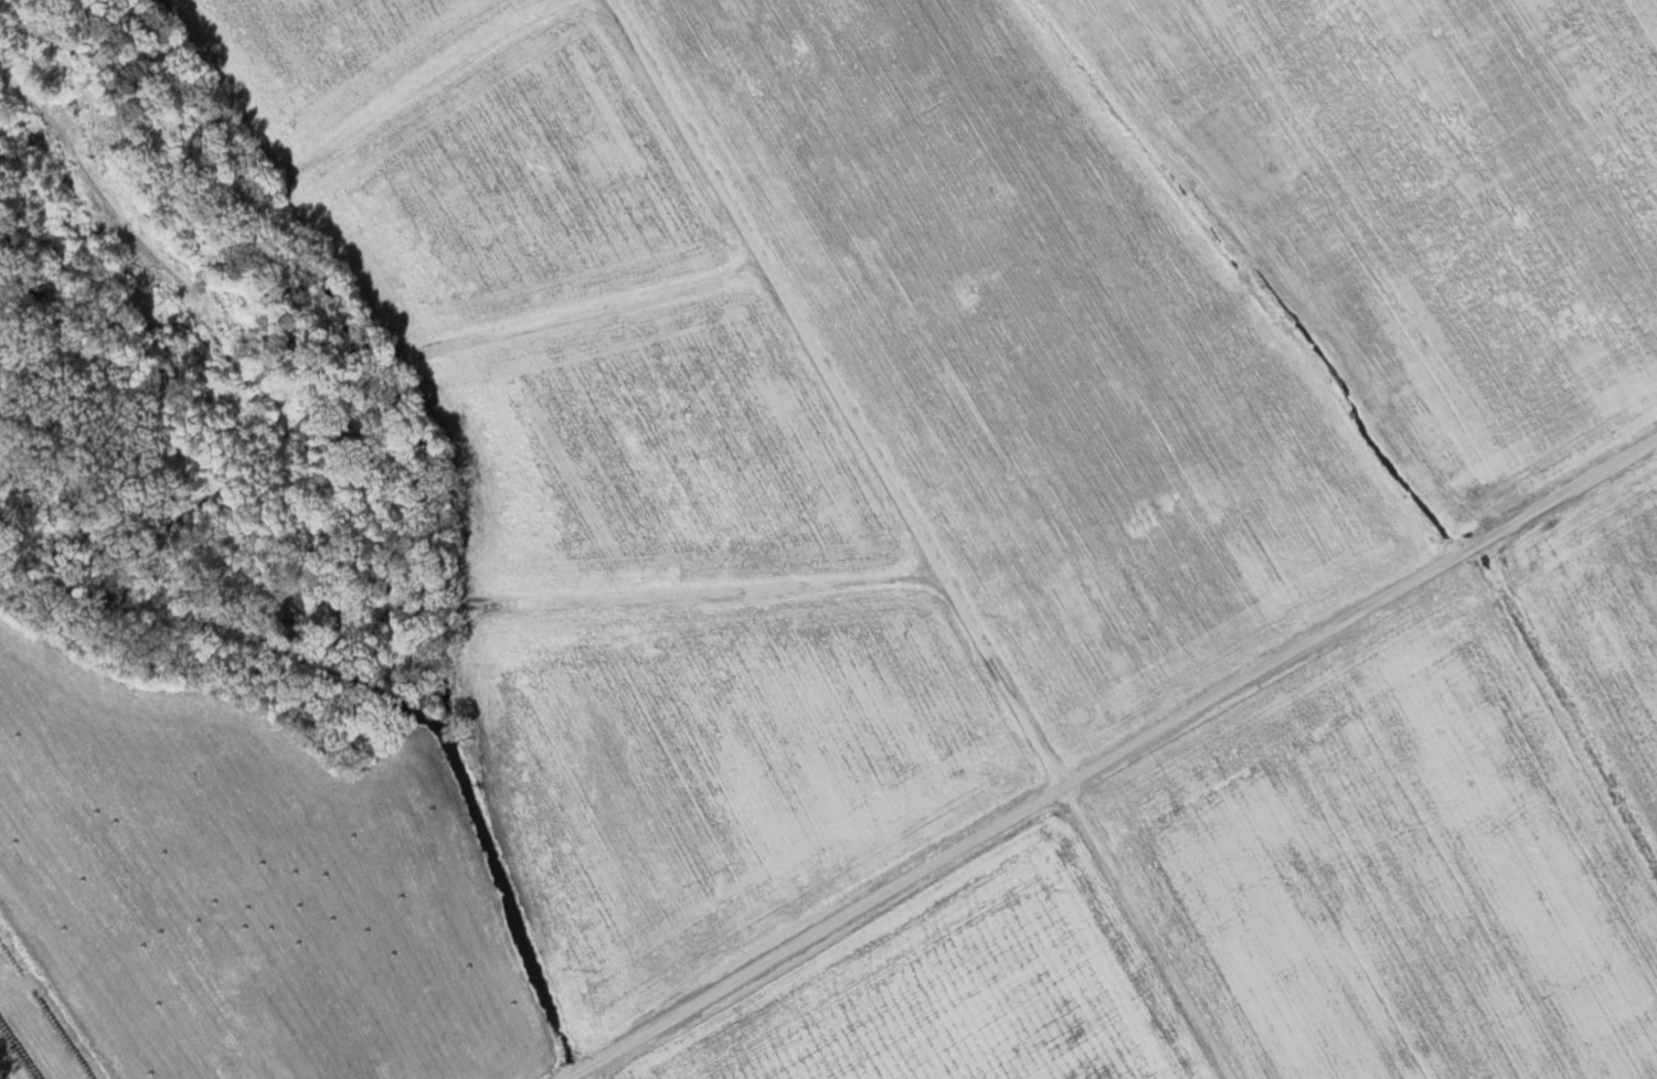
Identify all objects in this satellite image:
road: (878, 348)
road: (1113, 749)
road: (1144, 929)

